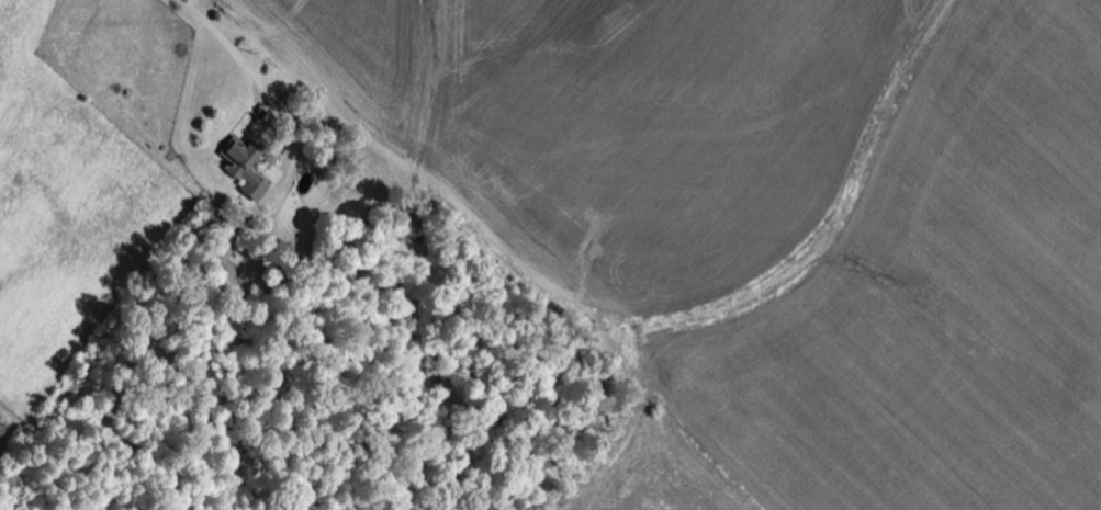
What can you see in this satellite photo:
road: (268, 90)
building: (243, 168)

